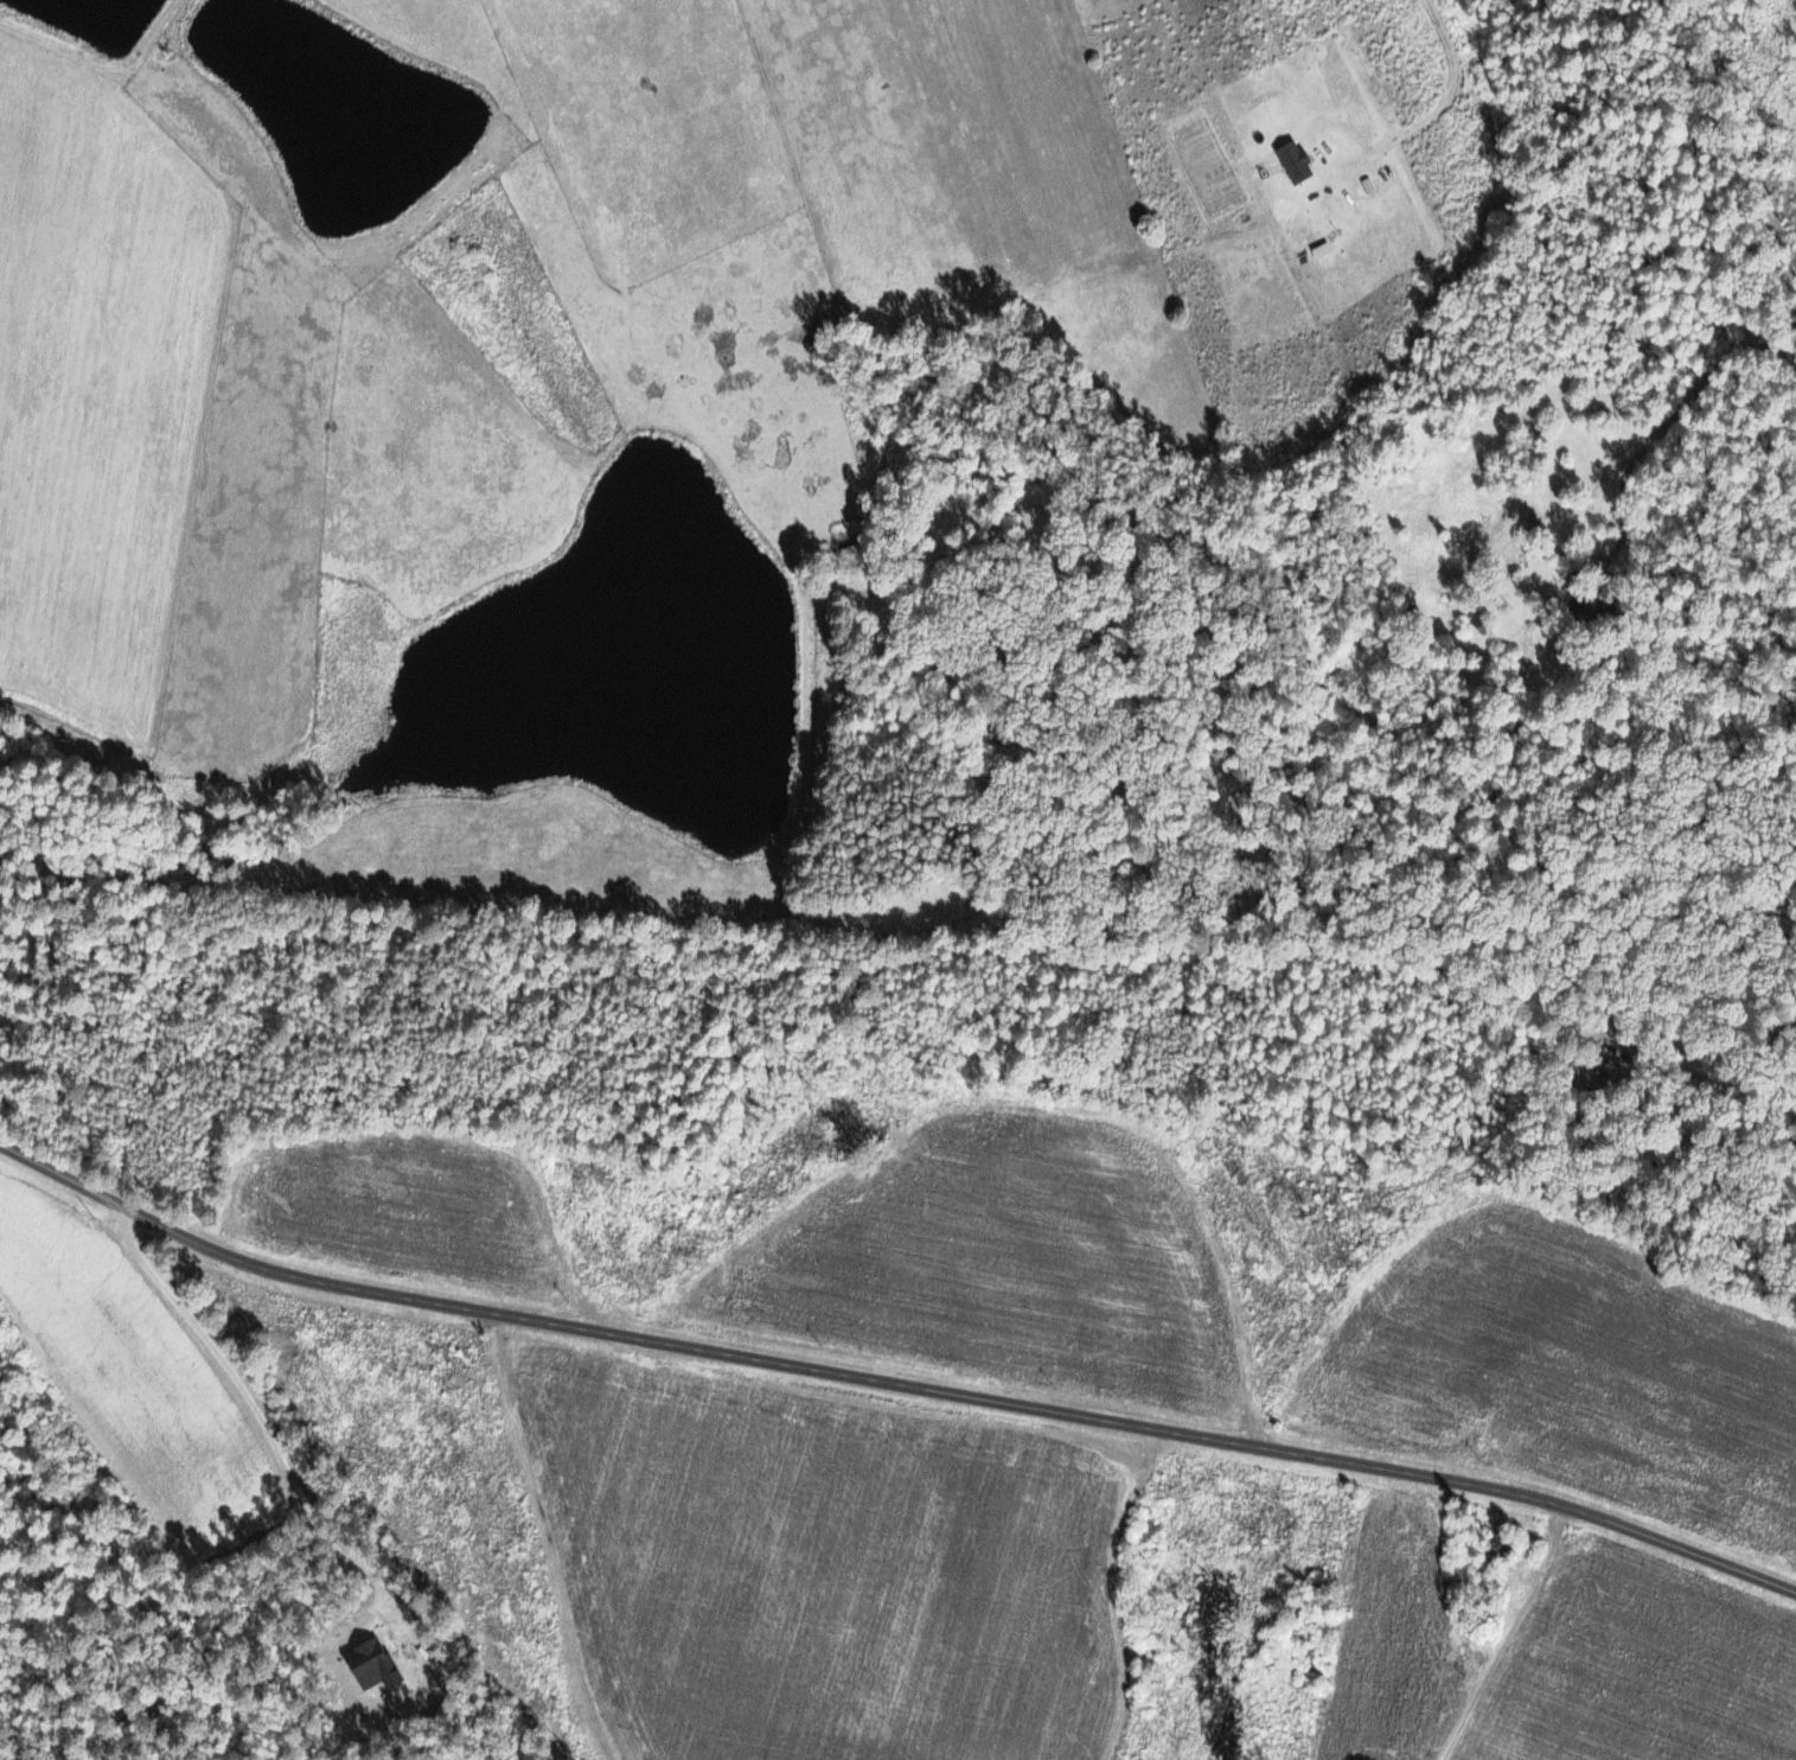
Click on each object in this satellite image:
road: (1440, 110)
building: (1292, 161)
road: (1704, 381)
road: (1596, 556)
building: (1579, 605)
road: (890, 1385)

